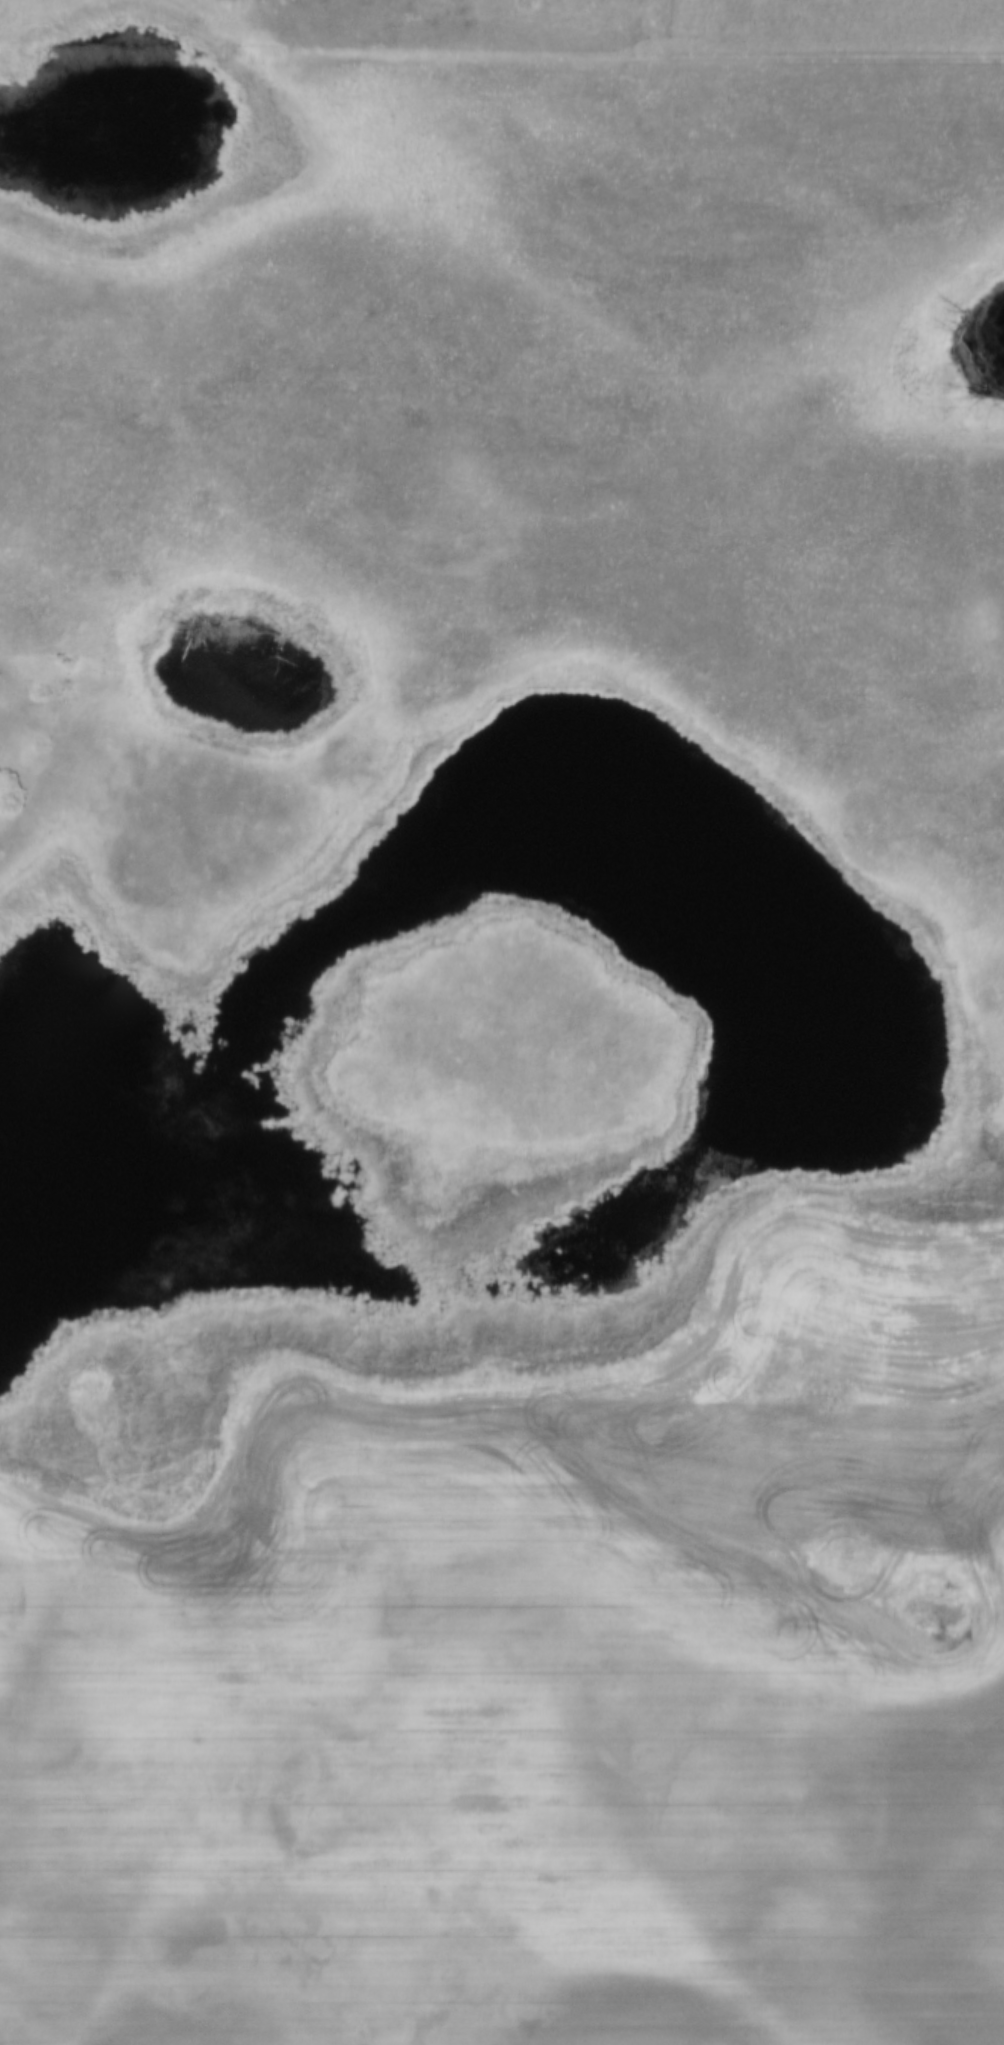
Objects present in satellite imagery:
road: (502, 63)

